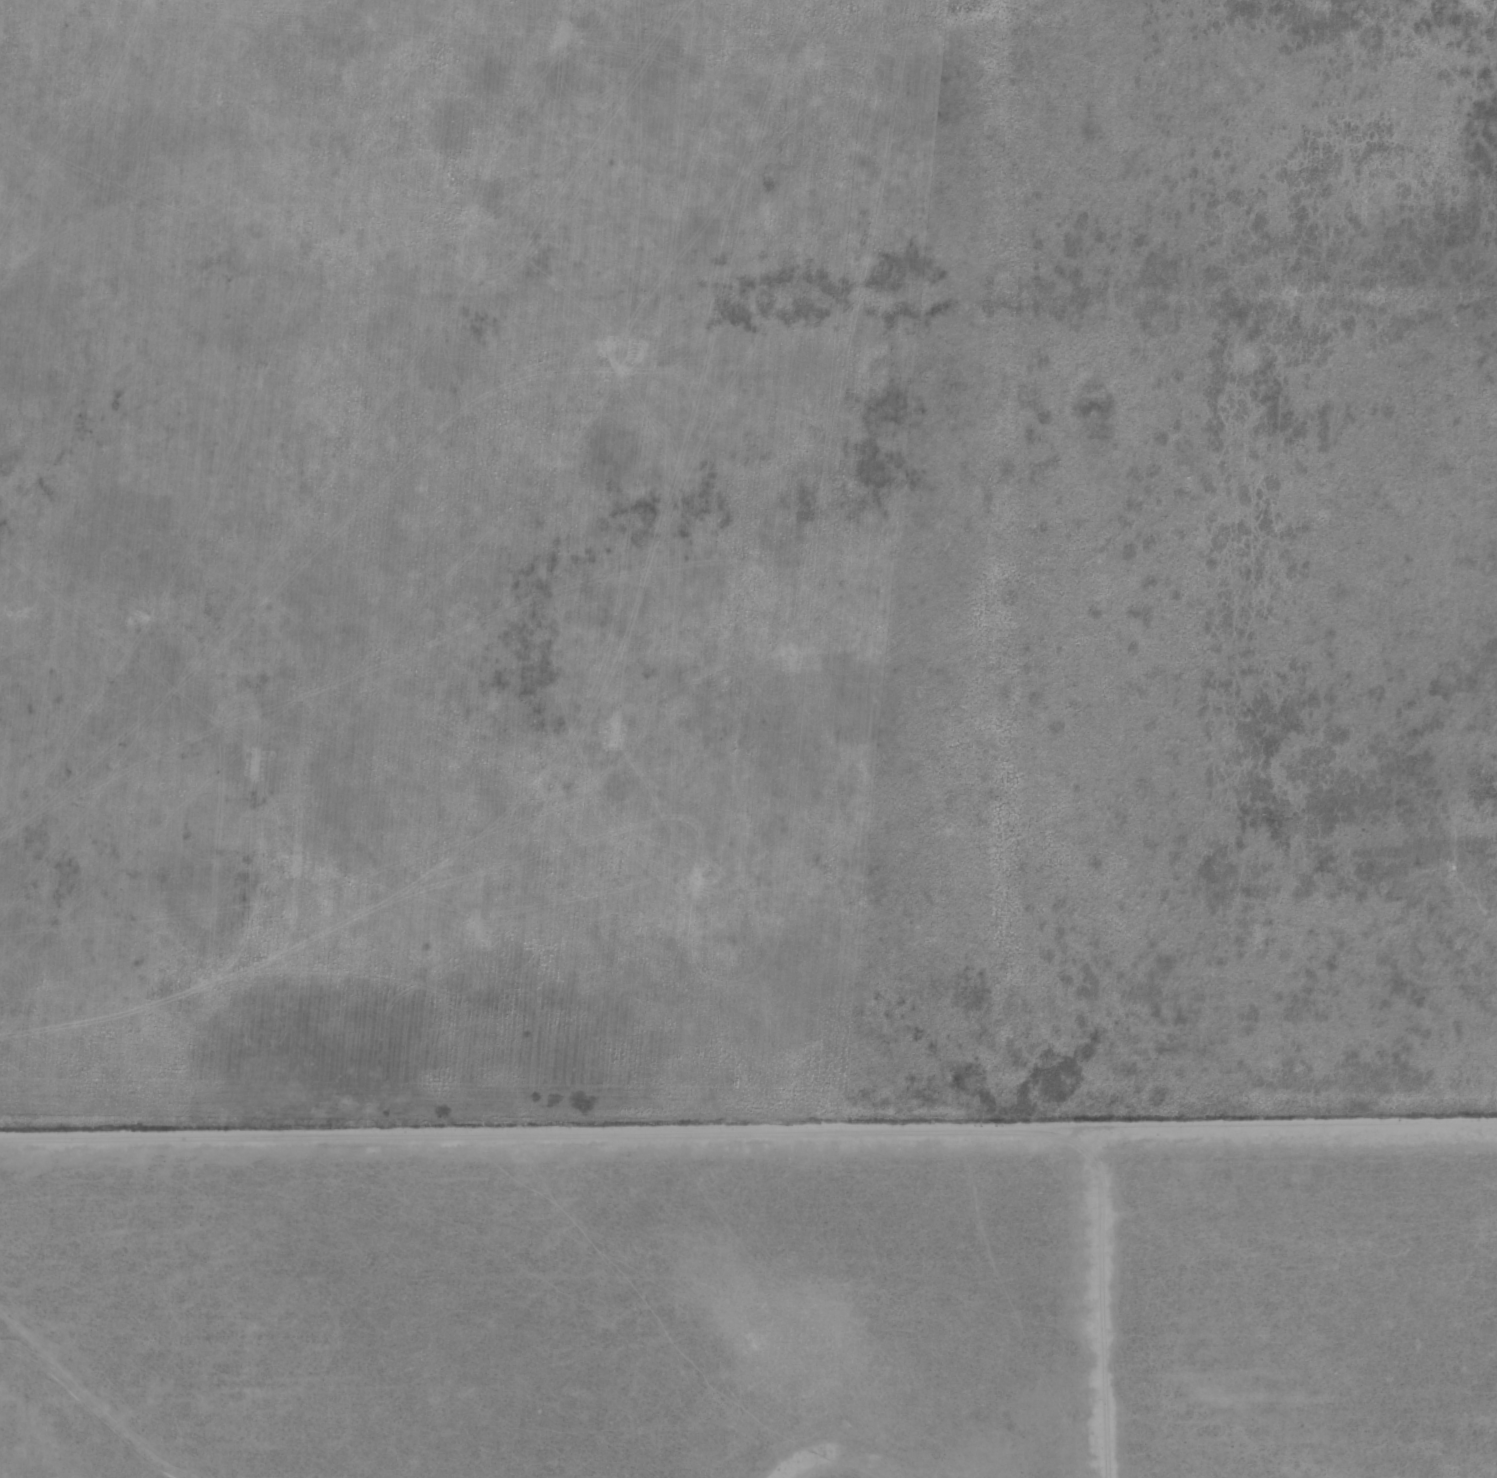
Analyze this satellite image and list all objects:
road: (698, 1154)

